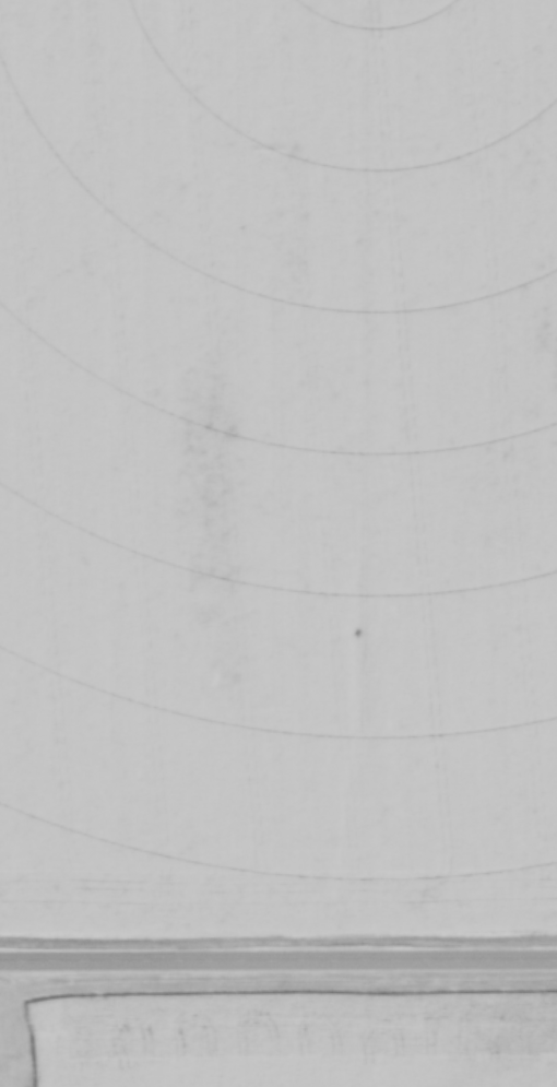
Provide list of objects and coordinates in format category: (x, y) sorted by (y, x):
road: (277, 958)

